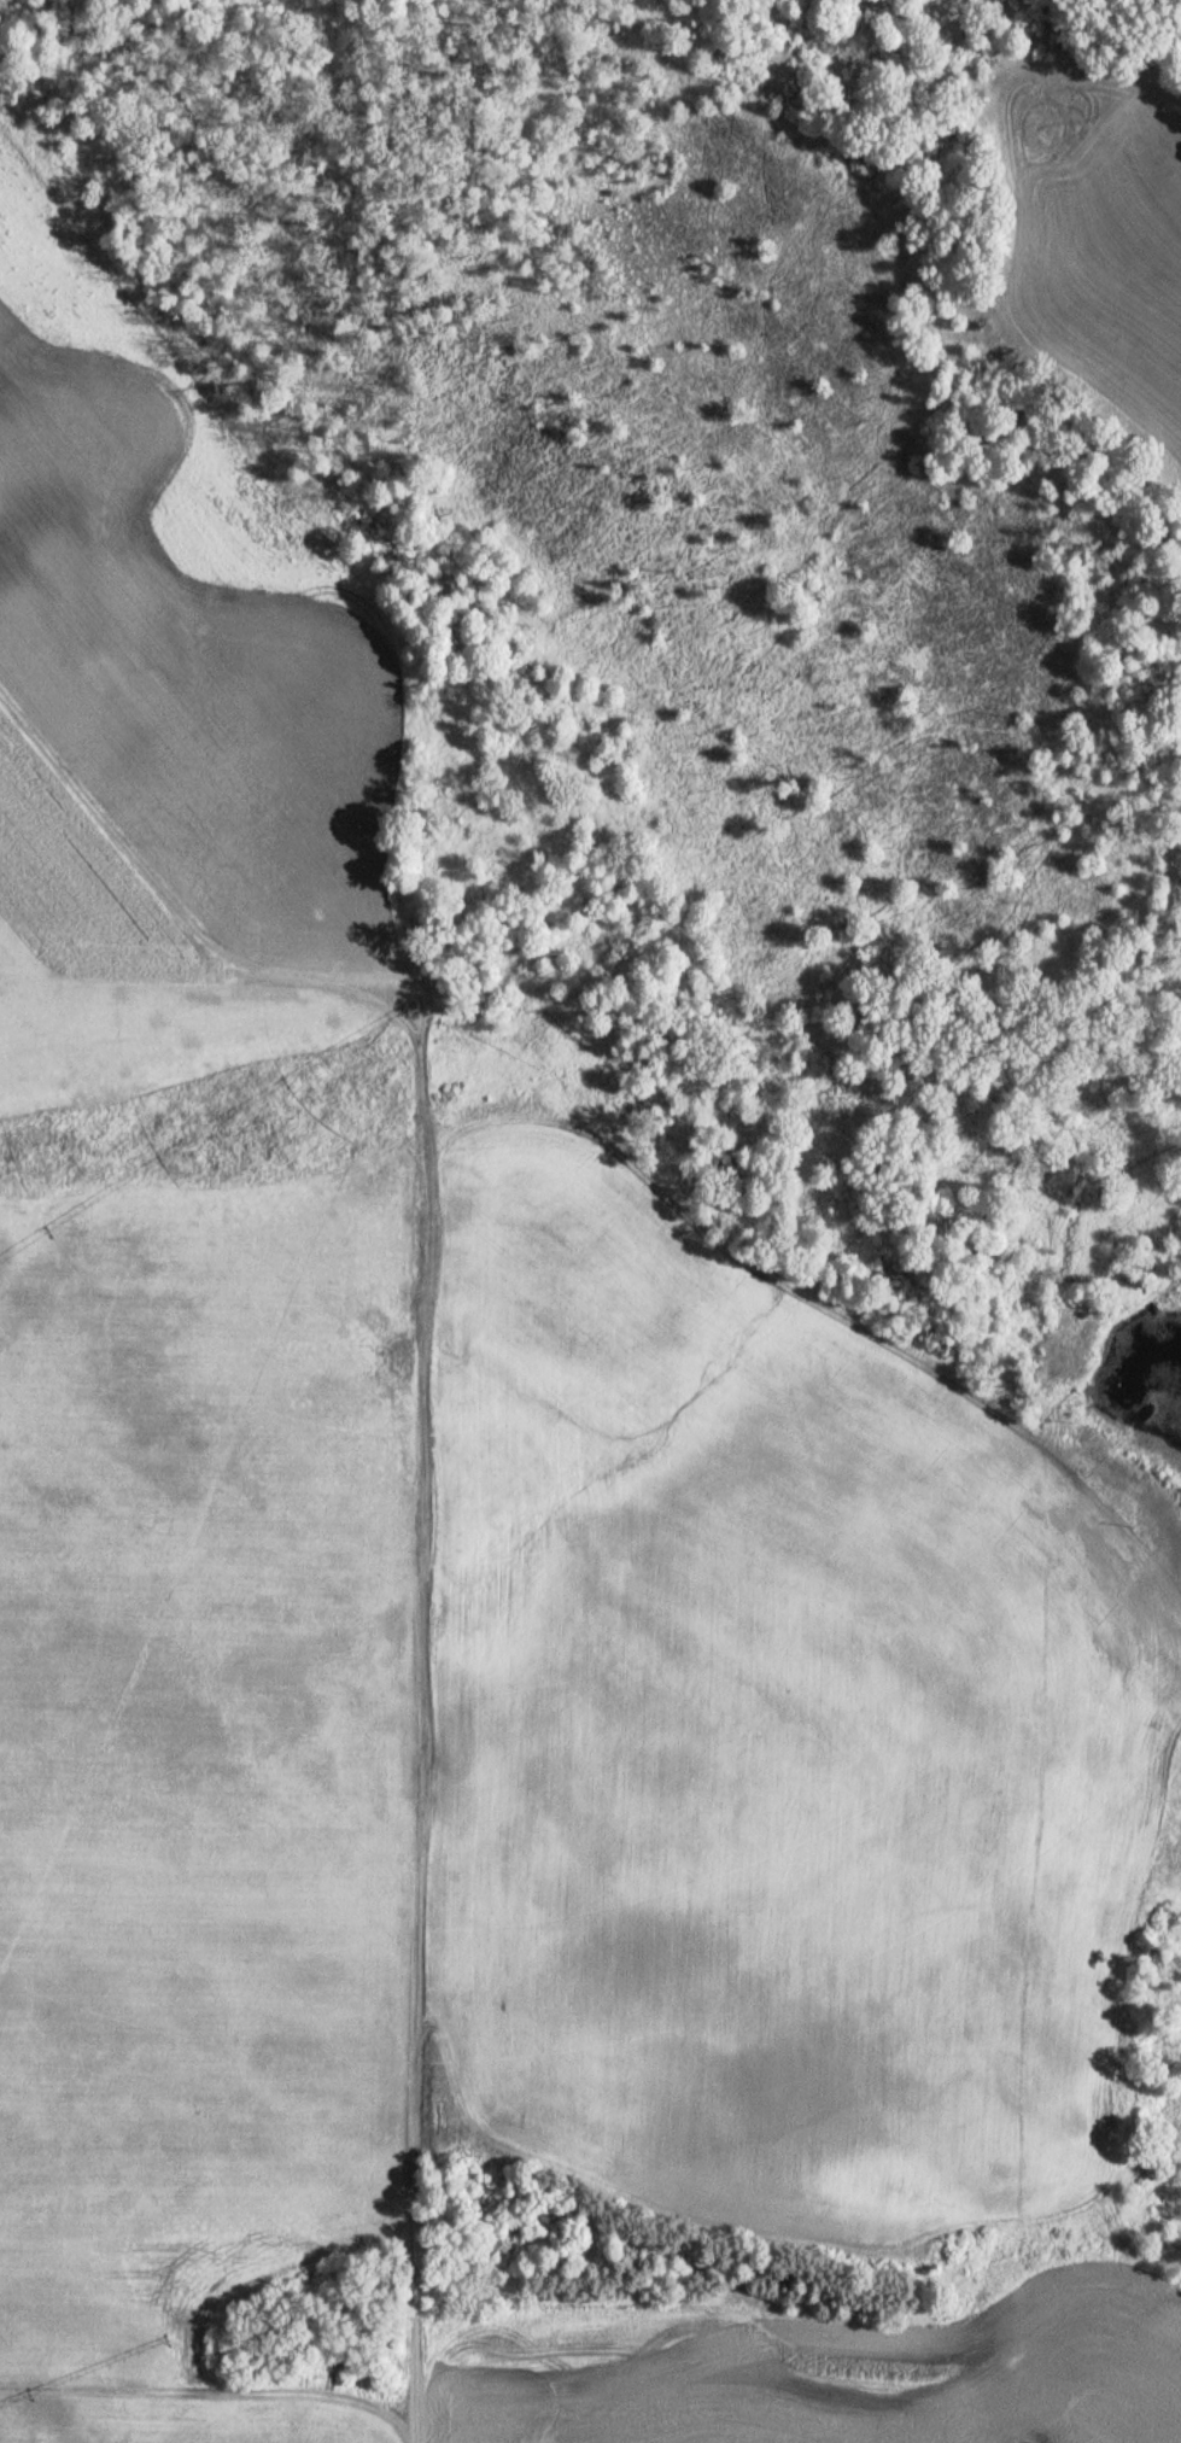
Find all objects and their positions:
road: (697, 1220)
road: (416, 1432)

